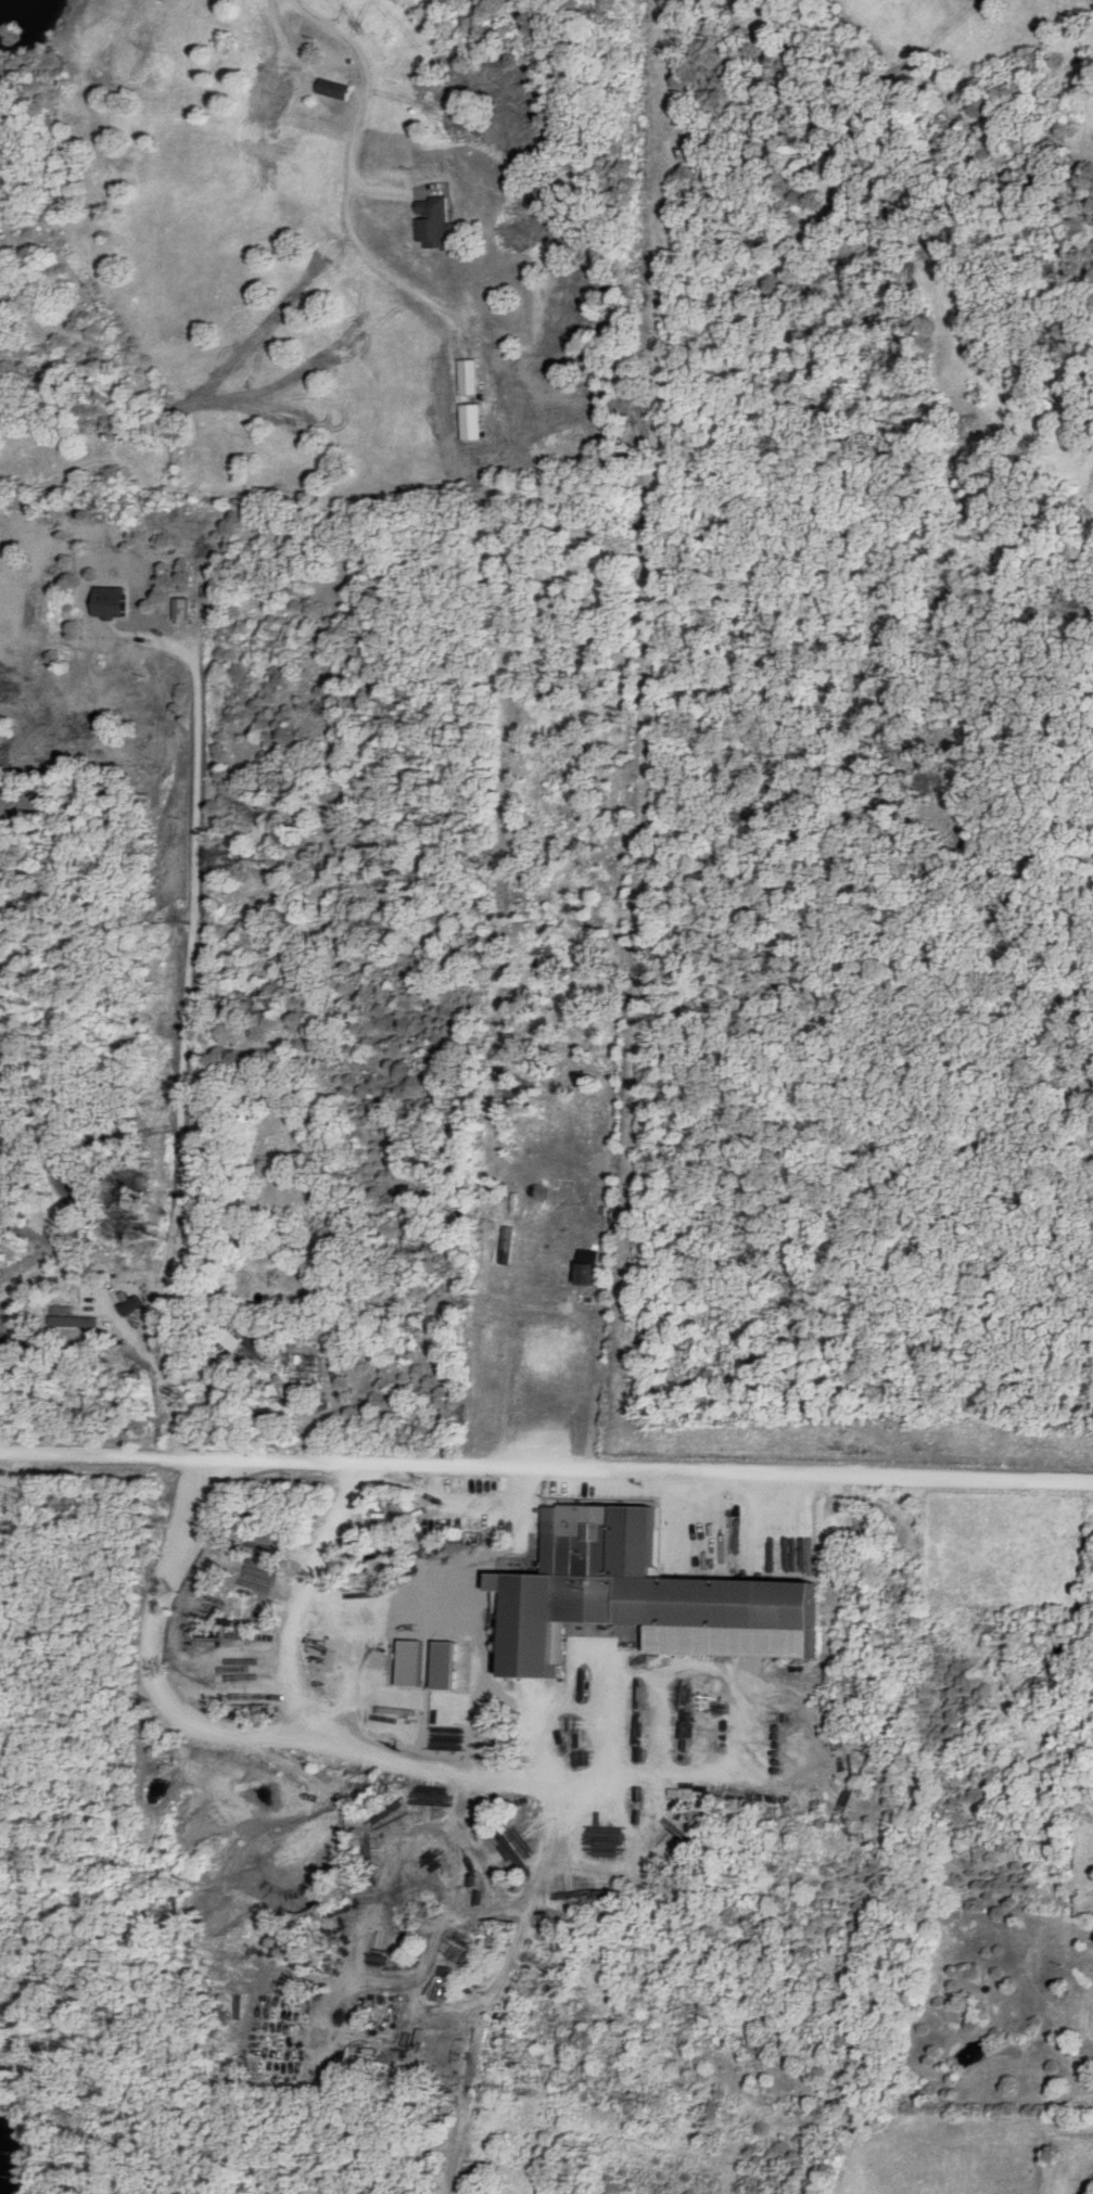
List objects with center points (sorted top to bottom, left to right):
road: (287, 28)
building: (437, 220)
building: (474, 374)
building: (478, 420)
building: (328, 1382)
road: (546, 1467)
building: (621, 1590)

